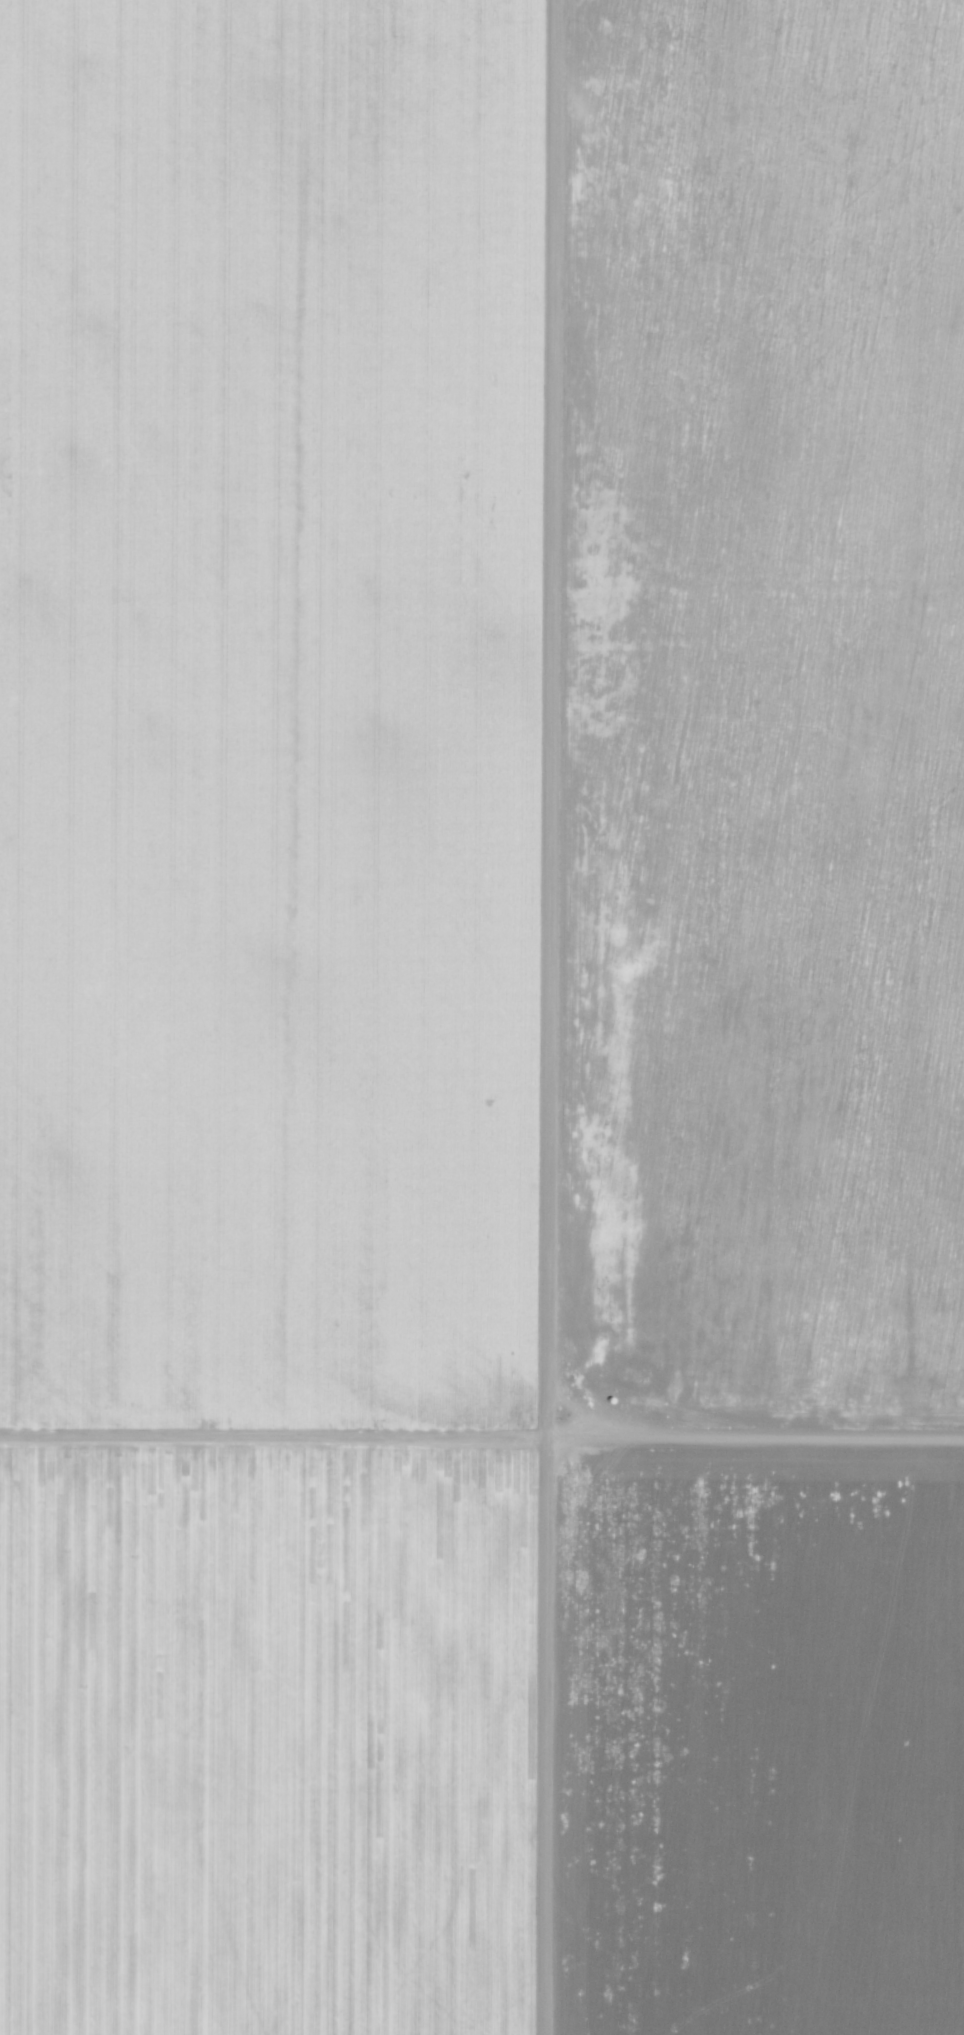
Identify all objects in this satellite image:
road: (573, 718)
road: (482, 1436)
road: (564, 1736)

